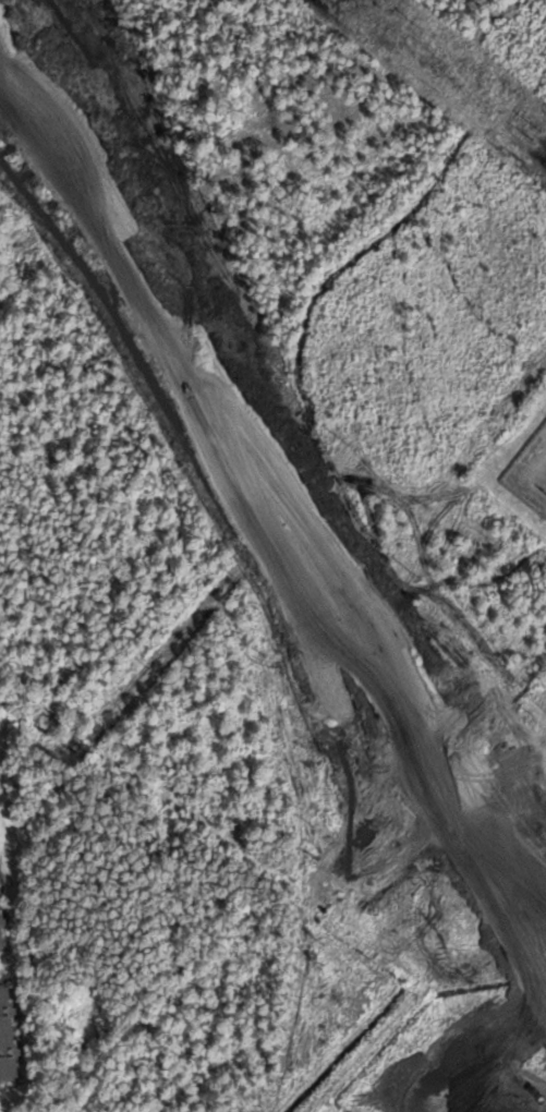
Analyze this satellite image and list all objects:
power tower: (538, 134)
park: (238, 288)
power substation: (531, 472)
building: (1, 935)
building: (7, 1038)
building: (493, 1062)
building: (470, 1086)

